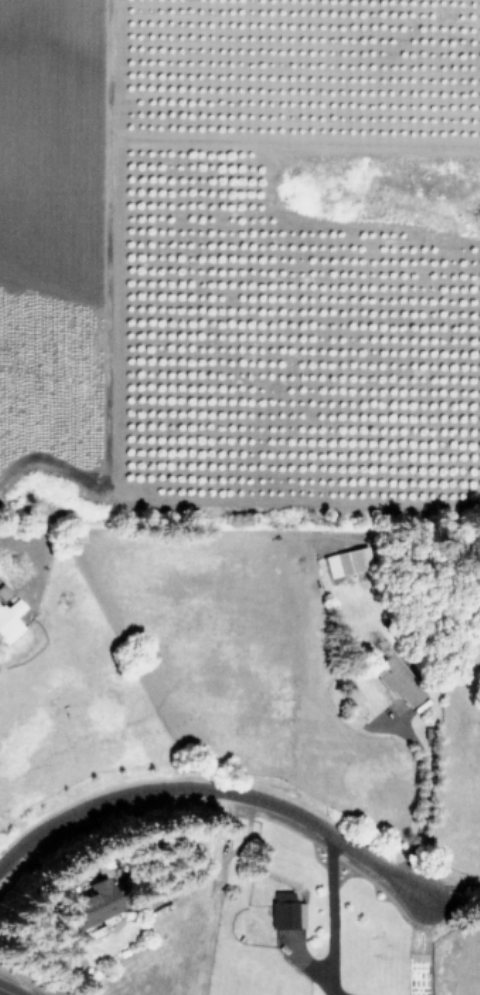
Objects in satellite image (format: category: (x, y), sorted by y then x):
building: (348, 561)
building: (4, 591)
building: (10, 620)
building: (400, 680)
road: (216, 789)
road: (420, 791)
road: (452, 889)
building: (95, 903)
building: (288, 910)
road: (334, 915)
road: (8, 991)

